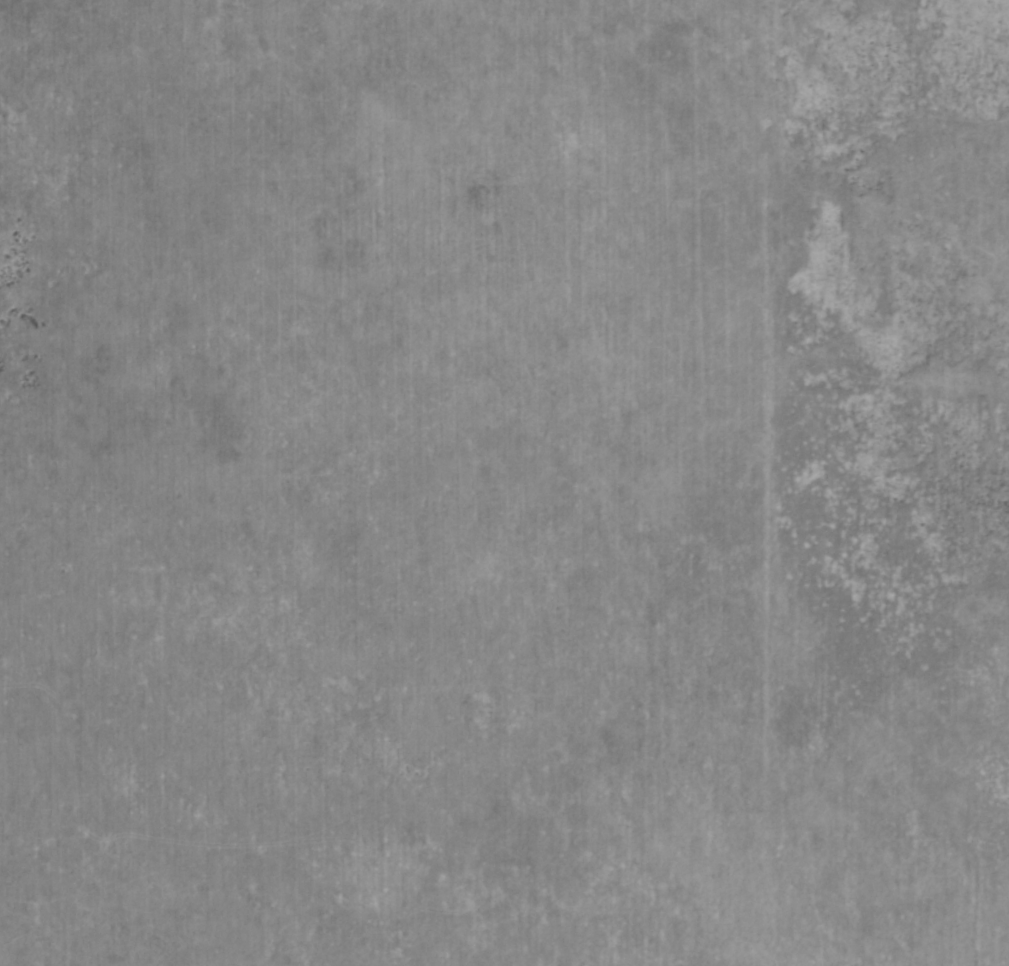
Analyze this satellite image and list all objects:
road: (885, 483)

